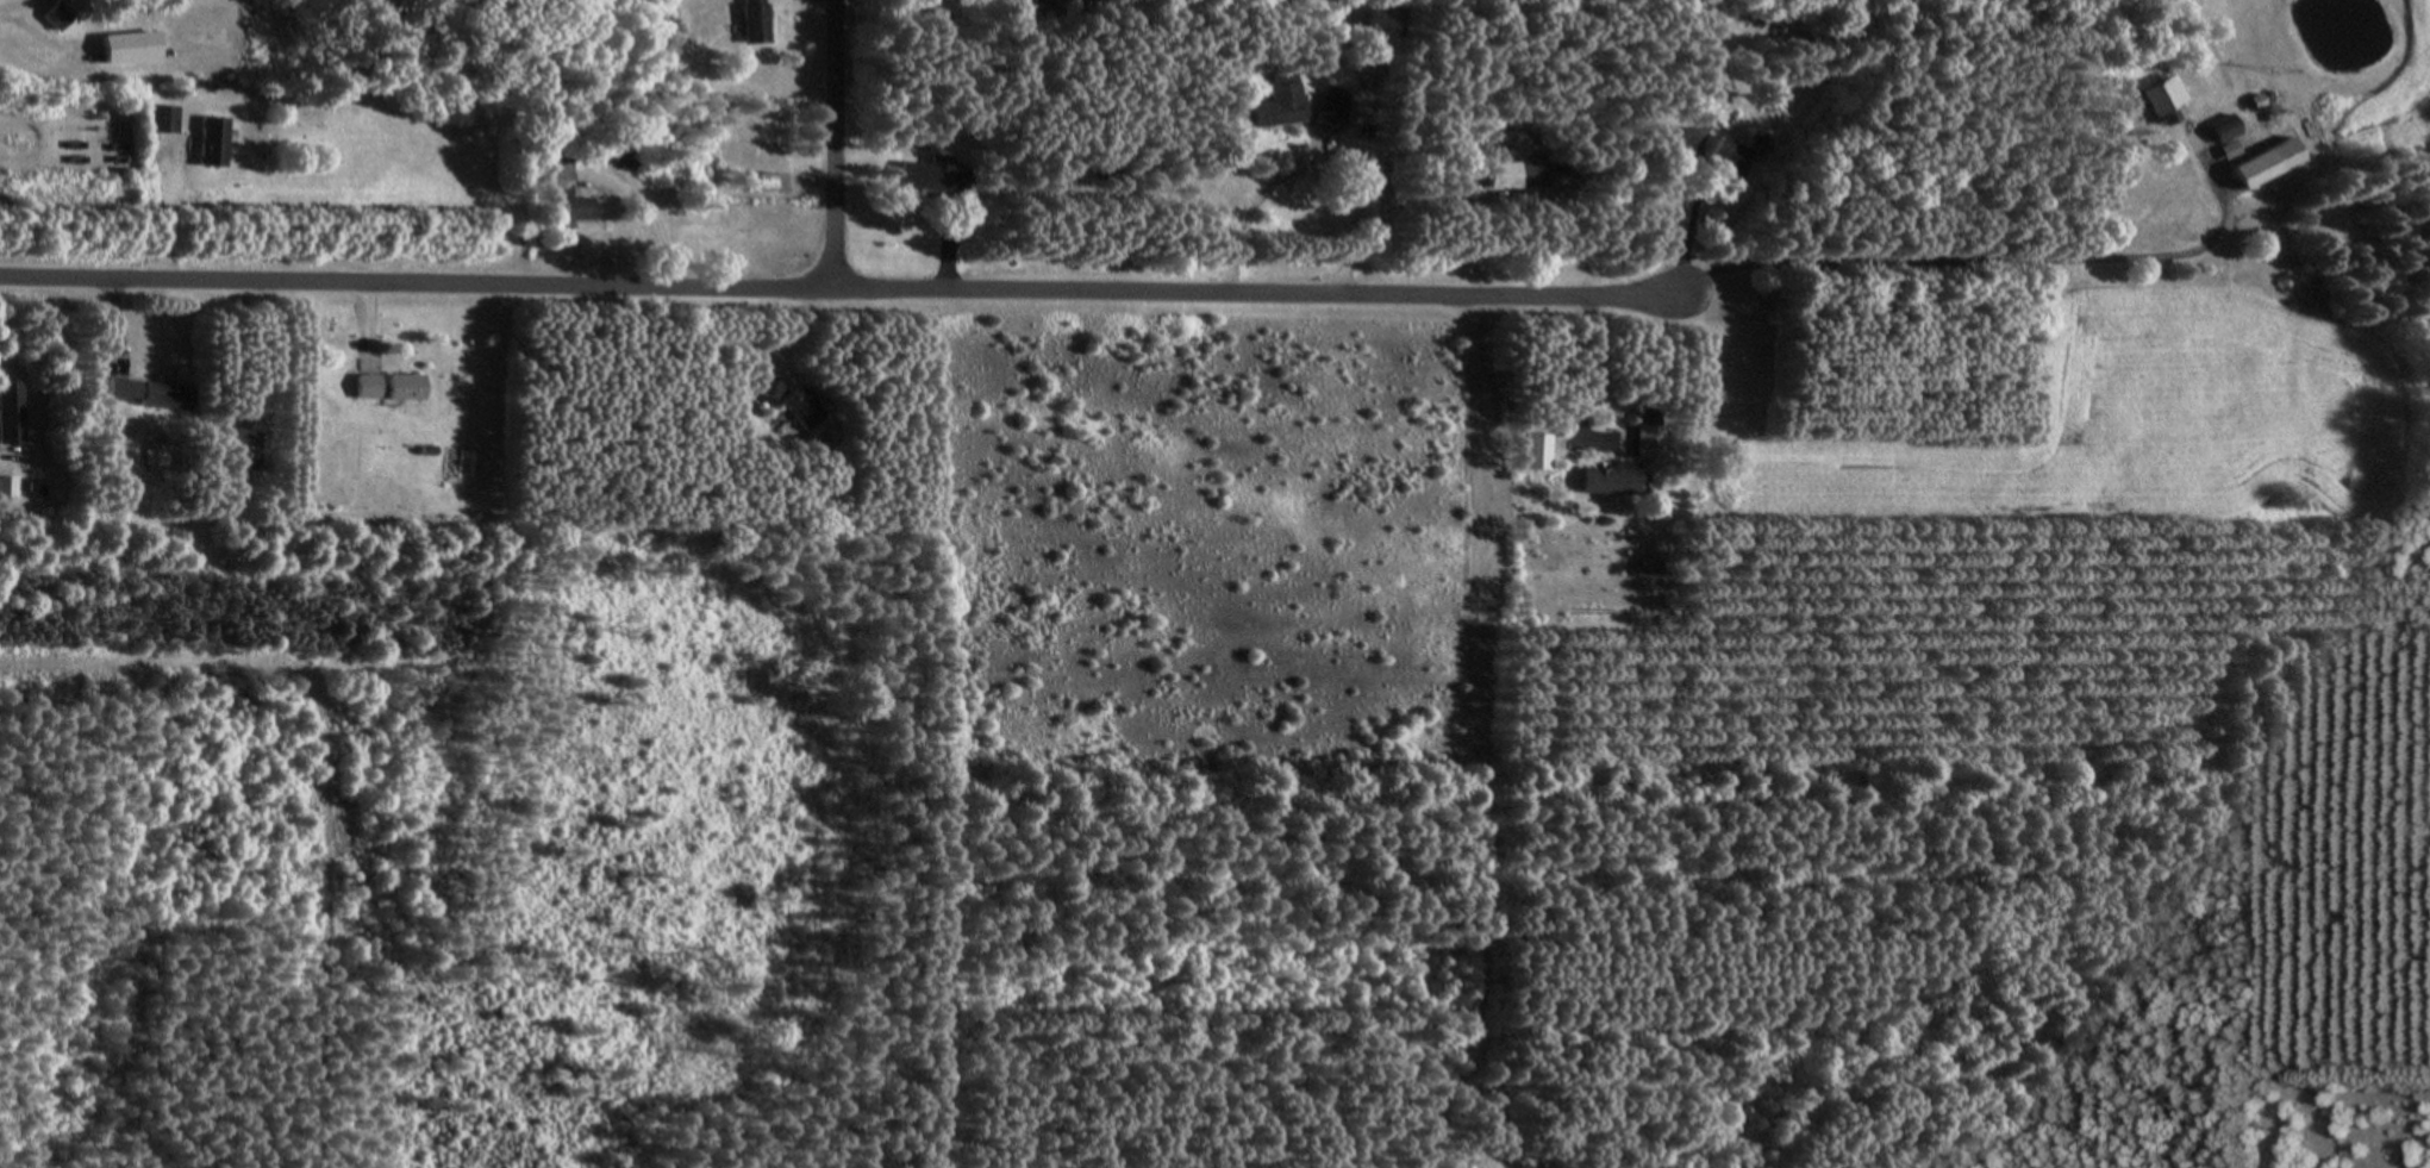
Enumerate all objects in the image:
building: (748, 20)
building: (2147, 98)
building: (1272, 107)
building: (154, 118)
building: (1664, 139)
building: (204, 140)
road: (837, 145)
building: (2220, 149)
building: (1724, 154)
building: (2255, 162)
building: (926, 174)
building: (1499, 174)
building: (763, 180)
building: (550, 181)
road: (1376, 208)
road: (1245, 214)
road: (842, 291)
building: (362, 386)
building: (401, 387)
building: (137, 388)
building: (792, 400)
building: (1649, 442)
building: (235, 449)
building: (1610, 477)

